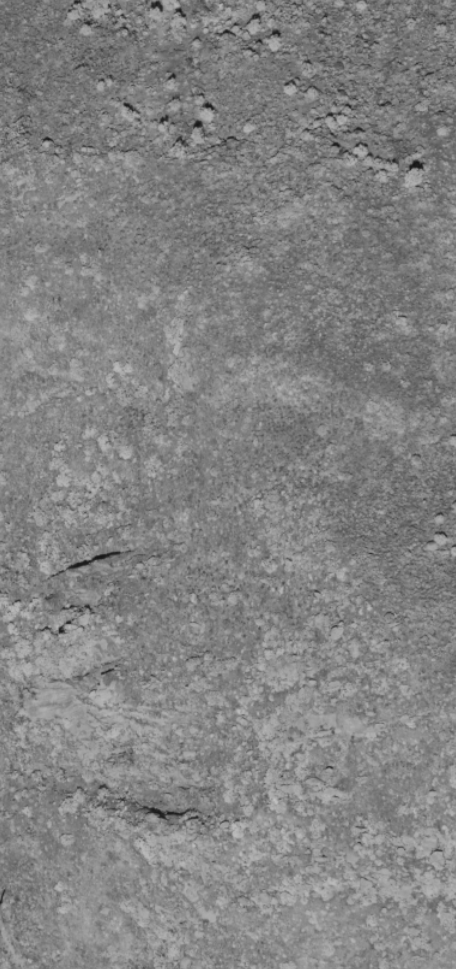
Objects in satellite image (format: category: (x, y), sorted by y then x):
park: (228, 484)

